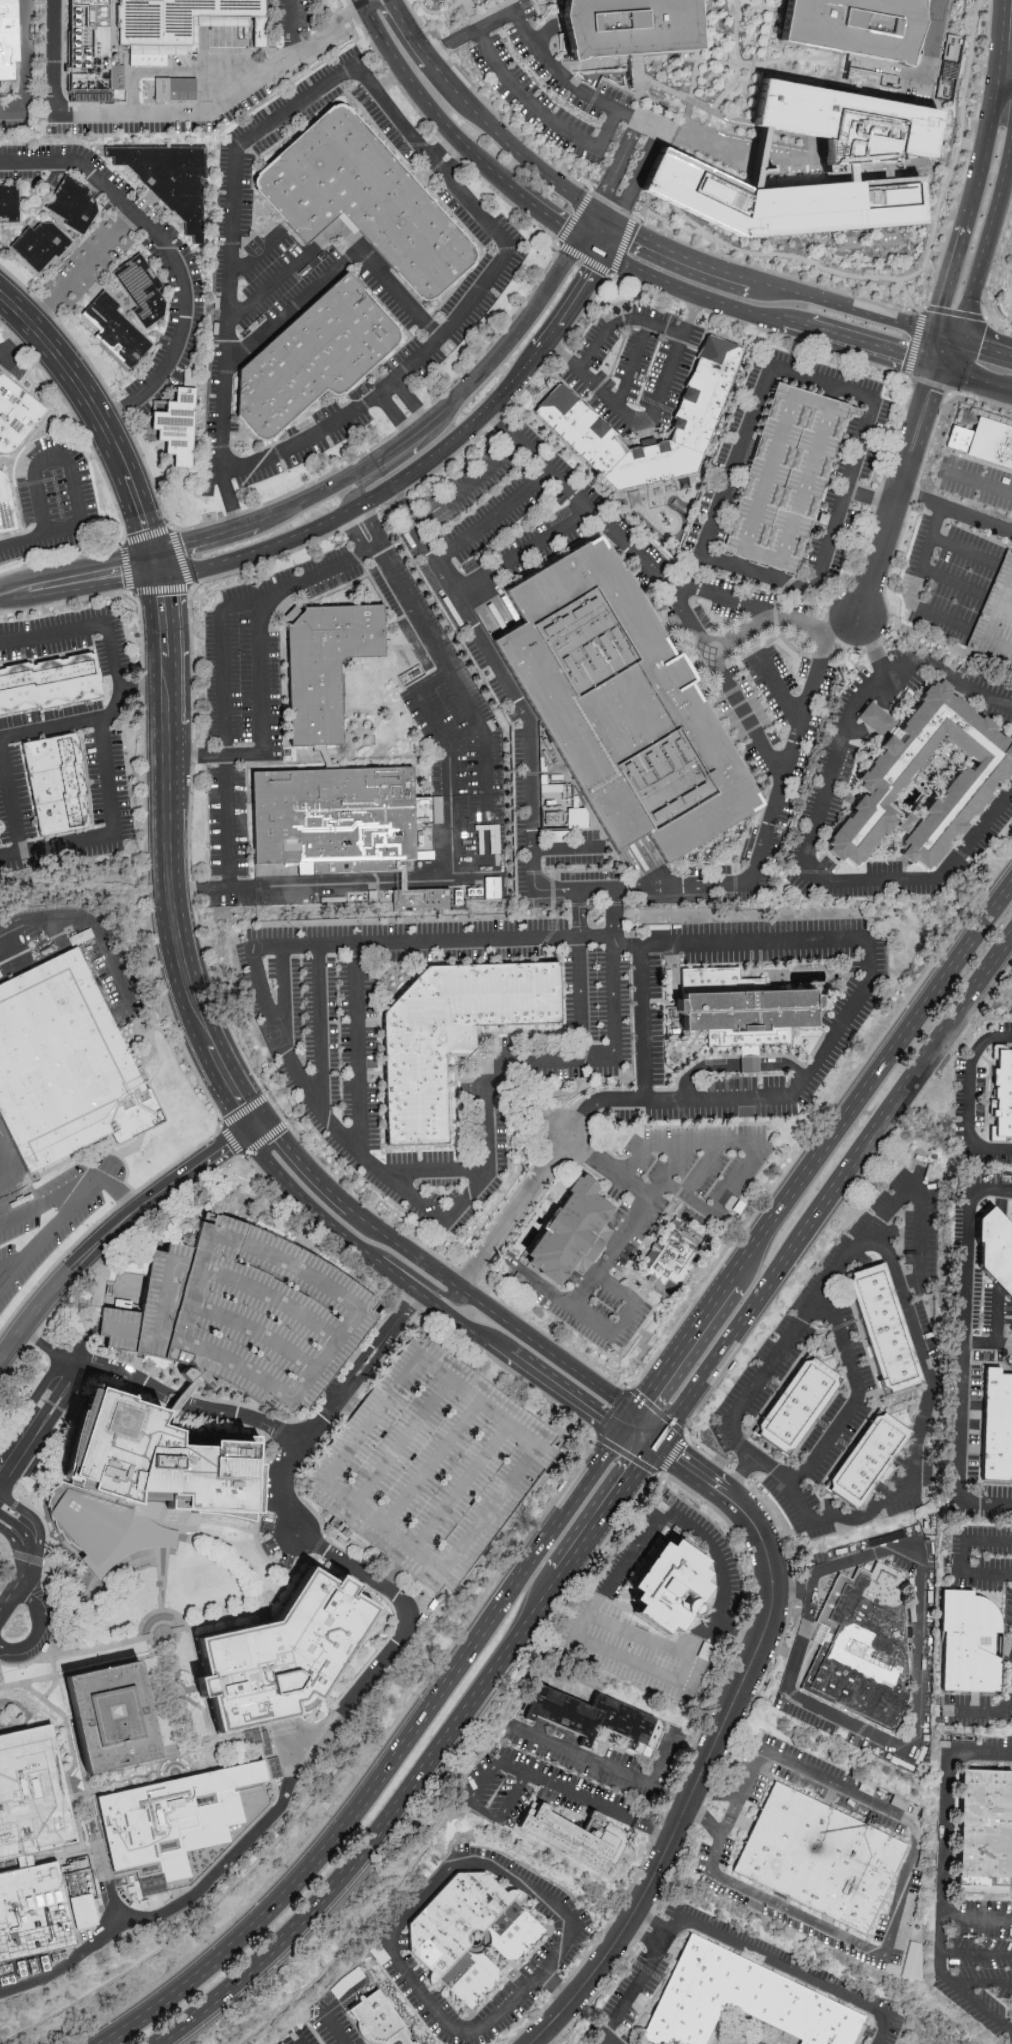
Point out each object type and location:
building: (438, 0)
road: (421, 4)
road: (928, 9)
road: (437, 12)
road: (501, 20)
building: (183, 24)
building: (628, 27)
building: (851, 27)
road: (293, 28)
road: (544, 33)
road: (997, 38)
road: (932, 41)
building: (6, 42)
road: (453, 42)
road: (810, 58)
road: (738, 59)
road: (753, 60)
road: (22, 65)
road: (172, 72)
road: (346, 72)
road: (841, 72)
road: (801, 77)
road: (1003, 77)
parking lot: (543, 83)
building: (170, 87)
road: (341, 89)
road: (629, 92)
parking lot: (292, 93)
road: (689, 100)
road: (102, 103)
parking lot: (317, 105)
road: (662, 108)
road: (687, 109)
road: (625, 111)
road: (160, 116)
road: (485, 116)
road: (708, 118)
road: (650, 119)
road: (363, 120)
parking lot: (383, 124)
road: (460, 133)
road: (381, 134)
parking lot: (268, 140)
road: (444, 144)
road: (237, 146)
road: (390, 150)
road: (979, 151)
road: (733, 156)
building: (857, 156)
road: (456, 158)
road: (620, 163)
road: (436, 166)
road: (950, 168)
parking lot: (22, 174)
road: (642, 174)
road: (426, 176)
building: (168, 178)
parking lot: (221, 191)
parking lot: (246, 196)
road: (438, 200)
building: (364, 201)
building: (8, 204)
building: (72, 205)
road: (260, 206)
traffic signals: (601, 212)
parking lot: (460, 213)
road: (272, 224)
traffic signals: (623, 225)
road: (593, 226)
road: (255, 228)
road: (231, 235)
road: (158, 238)
road: (616, 239)
traffic signals: (586, 240)
road: (989, 243)
road: (230, 244)
building: (39, 245)
road: (480, 246)
road: (598, 246)
park: (254, 247)
road: (506, 249)
road: (489, 250)
road: (240, 251)
parking lot: (522, 252)
parking lot: (77, 253)
traffic signals: (610, 253)
road: (760, 255)
road: (688, 257)
road: (584, 260)
parking lot: (269, 265)
road: (294, 265)
road: (991, 266)
road: (339, 267)
road: (83, 269)
parking lot: (194, 273)
parking lot: (98, 274)
road: (775, 274)
road: (948, 279)
road: (362, 287)
parking lot: (464, 287)
road: (695, 288)
building: (141, 291)
parking lot: (283, 296)
parking lot: (384, 297)
road: (446, 298)
road: (375, 299)
road: (378, 304)
building: (1010, 307)
road: (857, 311)
parking lot: (661, 314)
road: (461, 316)
parking lot: (170, 318)
parking lot: (472, 318)
road: (629, 320)
road: (425, 327)
building: (115, 331)
road: (949, 336)
road: (16, 341)
parking lot: (605, 341)
road: (863, 341)
road: (988, 347)
road: (938, 348)
road: (245, 349)
road: (954, 353)
parking lot: (400, 355)
road: (251, 356)
building: (313, 358)
parking lot: (641, 361)
road: (10, 366)
parking lot: (428, 366)
road: (639, 366)
parking lot: (12, 367)
road: (372, 370)
road: (227, 372)
road: (373, 372)
road: (977, 375)
parking lot: (592, 381)
road: (232, 392)
building: (704, 392)
road: (855, 393)
road: (89, 394)
parking lot: (215, 396)
road: (410, 401)
building: (15, 411)
road: (118, 411)
parking lot: (142, 411)
parking lot: (325, 412)
road: (448, 413)
road: (395, 415)
road: (655, 420)
road: (302, 421)
road: (238, 424)
road: (305, 427)
building: (178, 428)
building: (578, 428)
road: (401, 430)
road: (422, 430)
parking lot: (291, 432)
road: (278, 441)
road: (272, 443)
building: (987, 443)
road: (222, 447)
road: (262, 448)
road: (277, 453)
parking lot: (303, 453)
road: (239, 456)
road: (62, 461)
building: (649, 463)
road: (428, 465)
road: (380, 475)
building: (784, 477)
parking garage: (784, 477)
road: (107, 481)
parking lot: (977, 482)
road: (981, 483)
road: (469, 486)
road: (901, 495)
road: (869, 499)
parking lot: (52, 503)
building: (6, 508)
road: (956, 514)
road: (492, 517)
road: (372, 524)
parking lot: (955, 527)
road: (155, 533)
road: (354, 533)
road: (147, 535)
road: (212, 540)
road: (22, 543)
parking lot: (982, 545)
traffic signals: (166, 550)
road: (520, 551)
road: (963, 551)
road: (157, 552)
traffic signals: (149, 554)
parking lot: (913, 554)
road: (170, 564)
road: (112, 566)
road: (151, 567)
parking lot: (967, 570)
road: (309, 571)
traffic signals: (174, 578)
road: (164, 579)
road: (114, 580)
traffic signals: (154, 580)
road: (952, 581)
road: (914, 586)
road: (664, 587)
road: (38, 588)
road: (191, 589)
road: (1005, 591)
road: (723, 594)
parking lot: (953, 603)
parking lot: (1010, 603)
road: (1005, 610)
road: (177, 616)
parking lot: (1005, 629)
road: (986, 636)
parking lot: (69, 638)
parking lot: (959, 638)
road: (872, 651)
road: (190, 659)
building: (326, 660)
road: (949, 673)
building: (48, 683)
road: (137, 686)
road: (782, 688)
road: (178, 690)
building: (619, 706)
road: (262, 714)
road: (744, 715)
road: (52, 727)
road: (100, 730)
building: (55, 781)
building: (923, 784)
road: (10, 799)
parking lot: (14, 799)
parking lot: (110, 805)
building: (334, 808)
road: (565, 849)
road: (159, 864)
road: (449, 871)
road: (820, 880)
road: (553, 888)
building: (422, 899)
road: (613, 911)
road: (577, 912)
road: (90, 922)
road: (185, 929)
road: (595, 936)
road: (154, 951)
road: (873, 959)
road: (579, 998)
road: (283, 1002)
building: (741, 1009)
road: (616, 1015)
parking lot: (846, 1015)
road: (319, 1028)
road: (940, 1035)
building: (451, 1036)
road: (357, 1052)
building: (64, 1062)
building: (744, 1062)
road: (736, 1067)
road: (298, 1077)
road: (869, 1082)
road: (987, 1086)
building: (1002, 1094)
road: (972, 1099)
road: (531, 1100)
traffic signals: (266, 1117)
road: (256, 1124)
traffic signals: (247, 1131)
road: (231, 1141)
road: (754, 1155)
building: (920, 1158)
road: (303, 1165)
parking lot: (922, 1170)
road: (432, 1171)
road: (668, 1172)
road: (7, 1183)
road: (673, 1188)
road: (121, 1193)
road: (53, 1199)
parking lot: (878, 1202)
road: (641, 1212)
road: (512, 1213)
road: (67, 1215)
road: (326, 1219)
parking lot: (654, 1219)
parking lot: (39, 1221)
parking lot: (893, 1230)
parking lot: (931, 1230)
building: (568, 1233)
road: (110, 1236)
parking lot: (908, 1238)
road: (854, 1247)
building: (996, 1248)
road: (404, 1249)
building: (670, 1259)
road: (14, 1263)
road: (14, 1272)
parking lot: (919, 1291)
road: (427, 1292)
road: (762, 1293)
road: (448, 1299)
building: (241, 1314)
parking lot: (241, 1314)
road: (995, 1320)
road: (845, 1324)
parking lot: (781, 1326)
building: (886, 1326)
parking lot: (925, 1329)
road: (607, 1336)
parking lot: (853, 1336)
road: (988, 1345)
parking lot: (830, 1346)
road: (1011, 1348)
road: (550, 1352)
road: (964, 1353)
road: (676, 1354)
road: (68, 1361)
road: (526, 1364)
parking lot: (780, 1370)
road: (127, 1376)
road: (785, 1378)
road: (623, 1393)
road: (342, 1398)
building: (798, 1403)
road: (317, 1406)
helipad: (115, 1422)
parking lot: (822, 1424)
traffic signals: (625, 1426)
building: (997, 1427)
road: (640, 1437)
parking lot: (720, 1439)
road: (739, 1444)
road: (592, 1446)
traffic signals: (656, 1448)
building: (868, 1457)
road: (723, 1460)
building: (431, 1463)
parking lot: (431, 1463)
parking lot: (927, 1468)
road: (691, 1473)
road: (771, 1473)
road: (737, 1476)
building: (142, 1482)
road: (736, 1505)
parking lot: (782, 1506)
parking lot: (903, 1507)
road: (609, 1511)
road: (832, 1516)
road: (45, 1525)
road: (32, 1526)
parking lot: (820, 1532)
road: (21, 1542)
road: (5, 1544)
parking lot: (274, 1545)
road: (163, 1549)
road: (965, 1556)
road: (27, 1559)
road: (235, 1561)
road: (111, 1574)
road: (617, 1575)
building: (671, 1579)
road: (791, 1591)
road: (12, 1592)
road: (3, 1600)
road: (404, 1615)
road: (223, 1620)
road: (40, 1630)
road: (159, 1634)
road: (803, 1635)
road: (642, 1636)
building: (972, 1642)
building: (864, 1650)
road: (73, 1653)
road: (162, 1654)
building: (277, 1656)
road: (919, 1665)
road: (78, 1670)
road: (172, 1673)
road: (52, 1687)
road: (168, 1694)
road: (44, 1702)
road: (1001, 1710)
building: (594, 1714)
building: (109, 1718)
road: (735, 1739)
road: (388, 1759)
road: (687, 1759)
road: (491, 1770)
road: (609, 1772)
road: (692, 1791)
building: (31, 1794)
road: (574, 1794)
road: (667, 1797)
road: (691, 1797)
building: (160, 1810)
road: (732, 1816)
road: (383, 1827)
building: (986, 1833)
building: (576, 1836)
building: (821, 1859)
road: (941, 1875)
road: (899, 1901)
building: (32, 1911)
road: (412, 1911)
road: (976, 1919)
road: (646, 1933)
building: (472, 1935)
road: (726, 1941)
road: (82, 1952)
road: (975, 1952)
building: (910, 1960)
road: (981, 1983)
road: (559, 1987)
building: (743, 2001)
road: (332, 2008)
building: (378, 2021)
road: (300, 2041)
road: (542, 2042)

